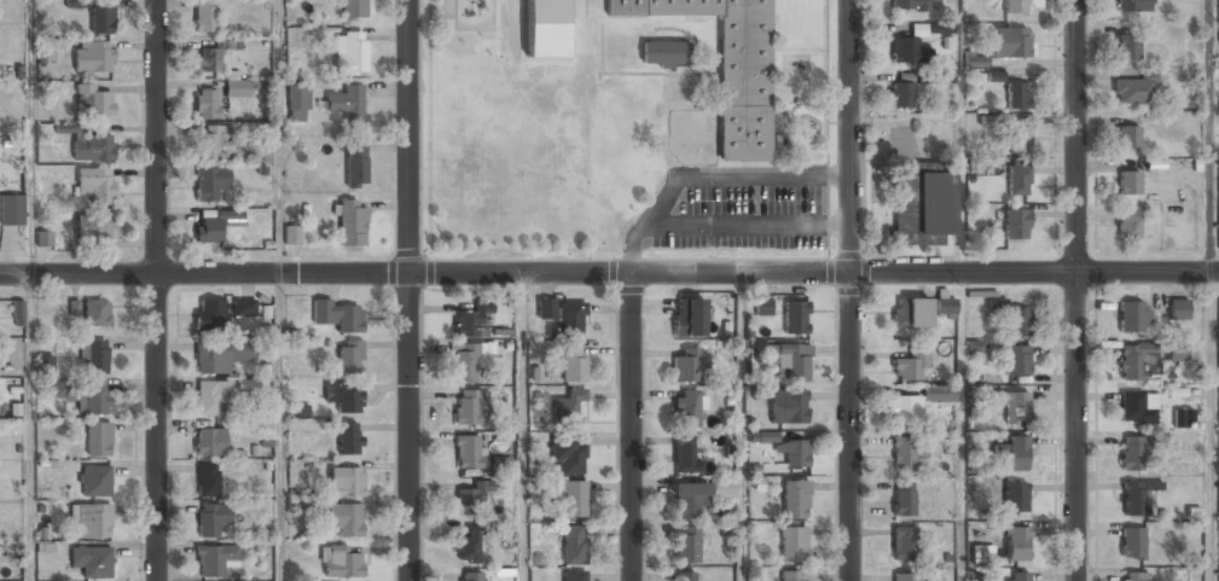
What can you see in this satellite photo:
building: (909, 6)
building: (1133, 6)
building: (1016, 7)
building: (353, 8)
building: (205, 16)
building: (100, 19)
building: (545, 29)
building: (940, 29)
building: (1010, 43)
building: (1128, 46)
building: (909, 47)
building: (350, 53)
building: (663, 53)
building: (211, 56)
building: (93, 57)
building: (975, 59)
building: (730, 68)
building: (220, 71)
building: (994, 76)
building: (925, 77)
building: (237, 89)
building: (1132, 89)
building: (899, 95)
building: (1016, 97)
building: (93, 101)
building: (205, 104)
building: (297, 104)
building: (348, 104)
road: (33, 136)
road: (278, 136)
building: (1127, 136)
road: (1211, 136)
building: (1018, 140)
building: (210, 144)
building: (92, 146)
building: (356, 164)
building: (1017, 180)
building: (1127, 181)
building: (95, 184)
building: (210, 184)
building: (1218, 193)
building: (922, 204)
building: (11, 209)
building: (352, 221)
building: (1127, 221)
building: (214, 223)
building: (1016, 223)
building: (93, 227)
building: (292, 234)
building: (43, 238)
road: (609, 275)
road: (157, 290)
road: (406, 290)
road: (849, 290)
road: (1075, 290)
building: (945, 302)
building: (997, 302)
building: (762, 307)
building: (66, 308)
building: (244, 308)
building: (546, 308)
building: (1178, 309)
building: (17, 310)
building: (97, 312)
building: (911, 312)
building: (337, 314)
building: (210, 315)
building: (689, 316)
building: (795, 316)
building: (1132, 316)
building: (470, 320)
building: (568, 320)
building: (1018, 320)
building: (1177, 350)
building: (94, 355)
building: (349, 355)
building: (220, 356)
building: (789, 359)
building: (1016, 359)
building: (464, 362)
building: (573, 362)
building: (689, 364)
building: (1138, 364)
building: (45, 365)
building: (910, 367)
building: (82, 395)
building: (344, 396)
building: (213, 397)
building: (917, 403)
building: (568, 405)
building: (1015, 405)
building: (788, 406)
building: (468, 407)
building: (686, 408)
building: (1137, 408)
building: (1184, 419)
road: (1212, 426)
road: (34, 428)
road: (280, 428)
road: (522, 428)
road: (742, 428)
road: (632, 429)
building: (349, 437)
building: (98, 440)
building: (210, 442)
building: (469, 452)
building: (1014, 452)
building: (794, 453)
building: (906, 453)
building: (1133, 453)
building: (685, 454)
building: (567, 455)
building: (208, 480)
building: (346, 481)
building: (94, 482)
building: (722, 488)
building: (471, 496)
building: (1015, 498)
building: (574, 499)
building: (687, 499)
building: (904, 499)
building: (1132, 499)
building: (795, 500)
building: (213, 518)
building: (346, 518)
building: (93, 522)
building: (902, 544)
building: (1132, 544)
building: (571, 545)
building: (687, 545)
building: (794, 545)
building: (1016, 545)
building: (469, 546)
building: (215, 559)
building: (92, 563)
building: (341, 563)
building: (470, 576)
building: (574, 576)
building: (685, 576)
building: (793, 576)
building: (1016, 576)
building: (1138, 576)
building: (905, 577)

